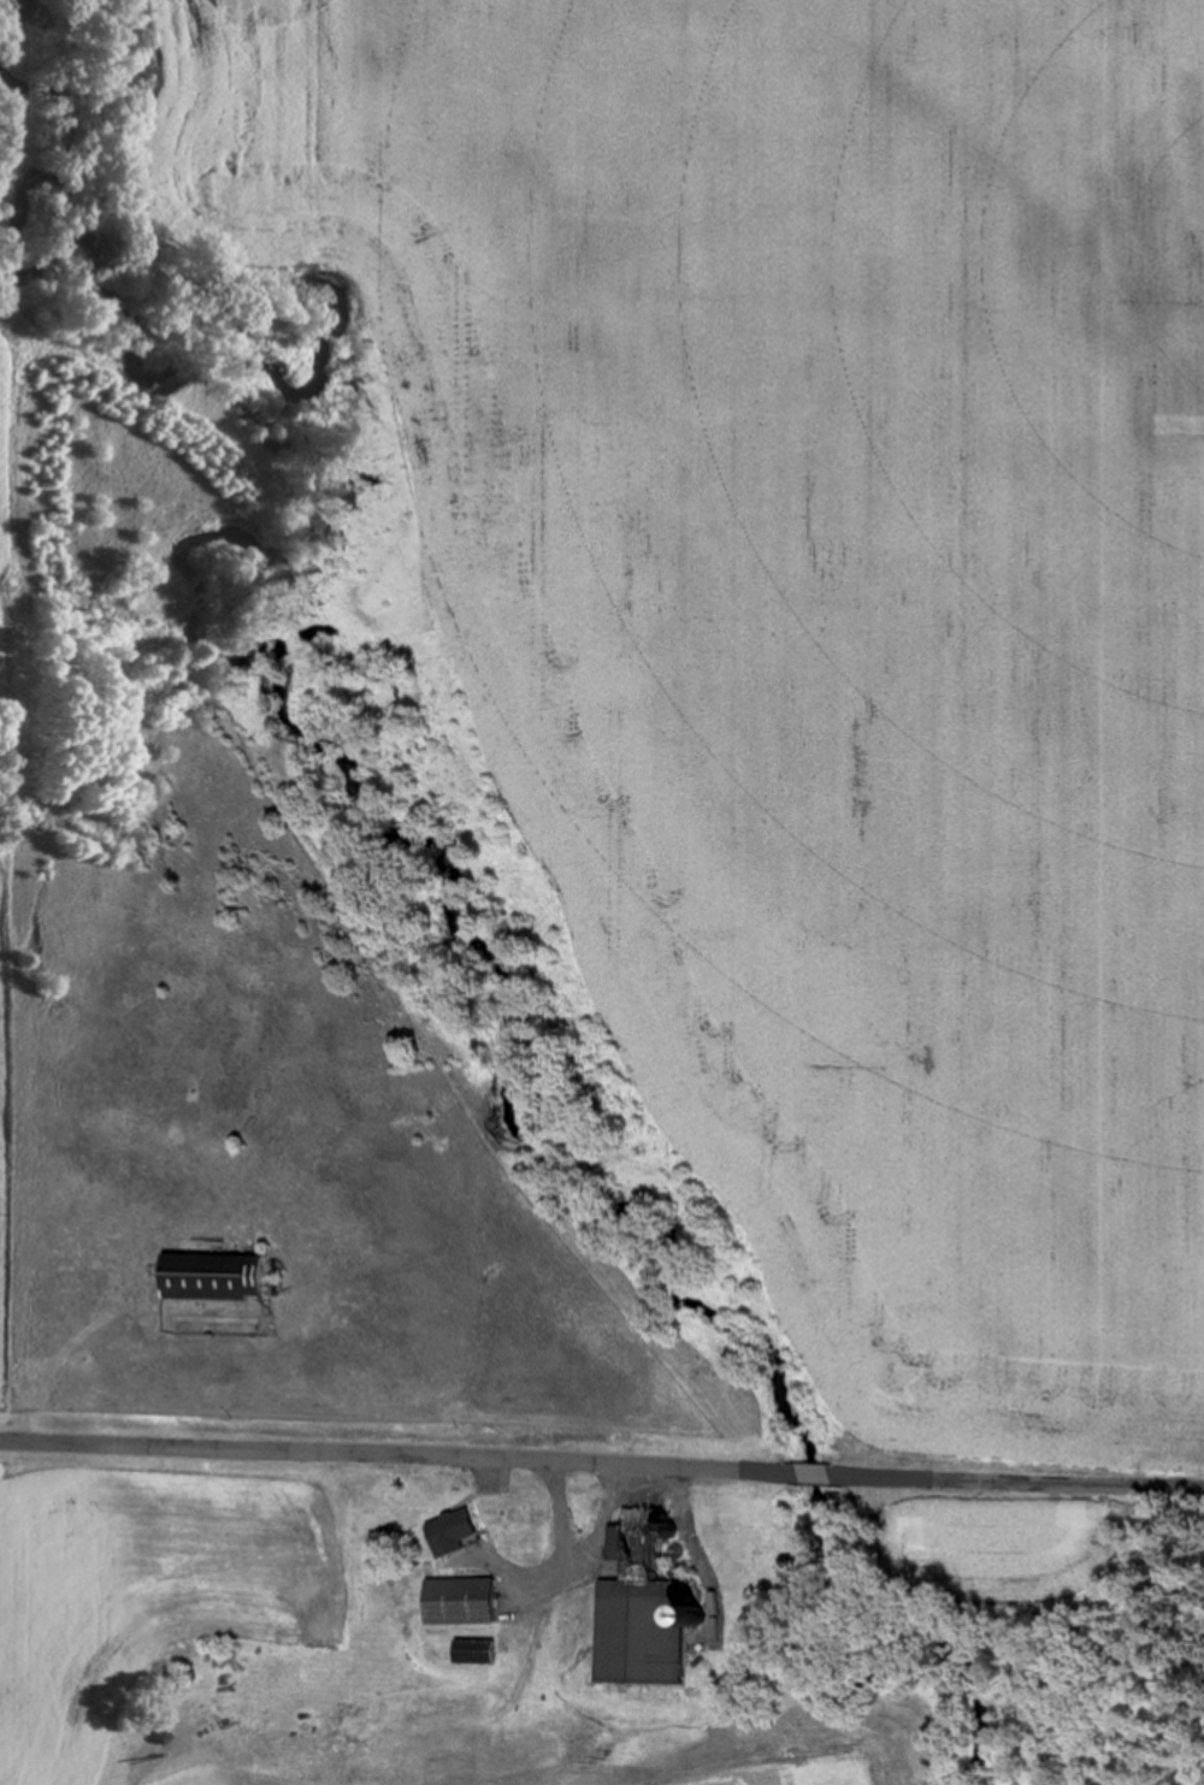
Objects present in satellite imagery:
building: (226, 1276)
road: (602, 1480)
building: (461, 1530)
building: (466, 1600)
building: (647, 1606)
building: (479, 1650)

